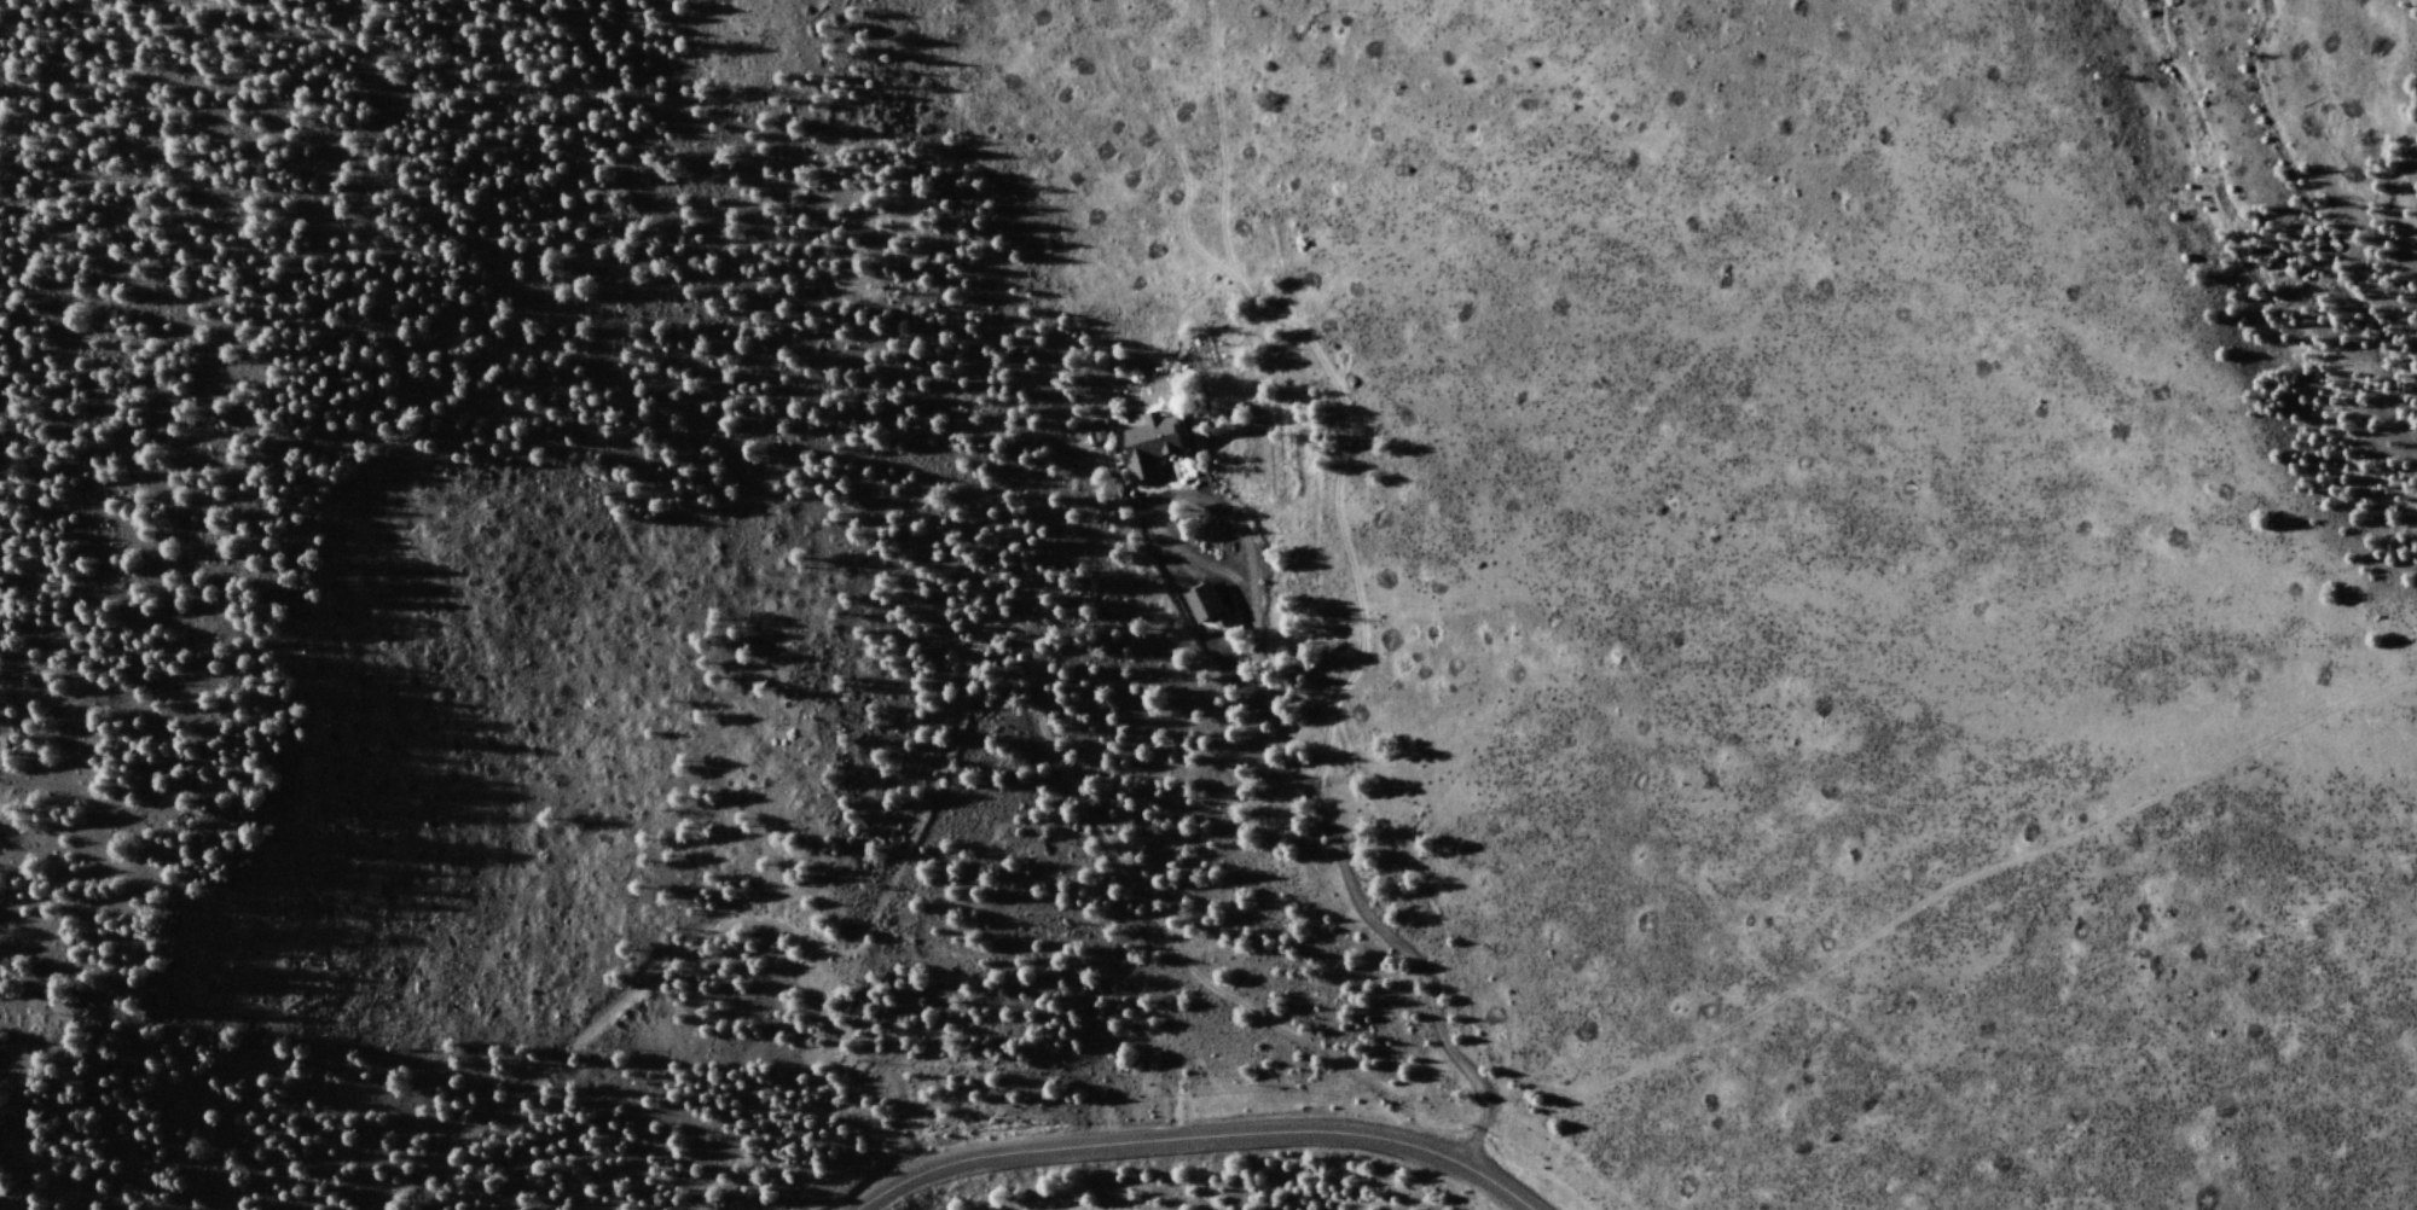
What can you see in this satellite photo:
building: (1210, 609)
road: (1344, 853)
road: (1207, 1146)

